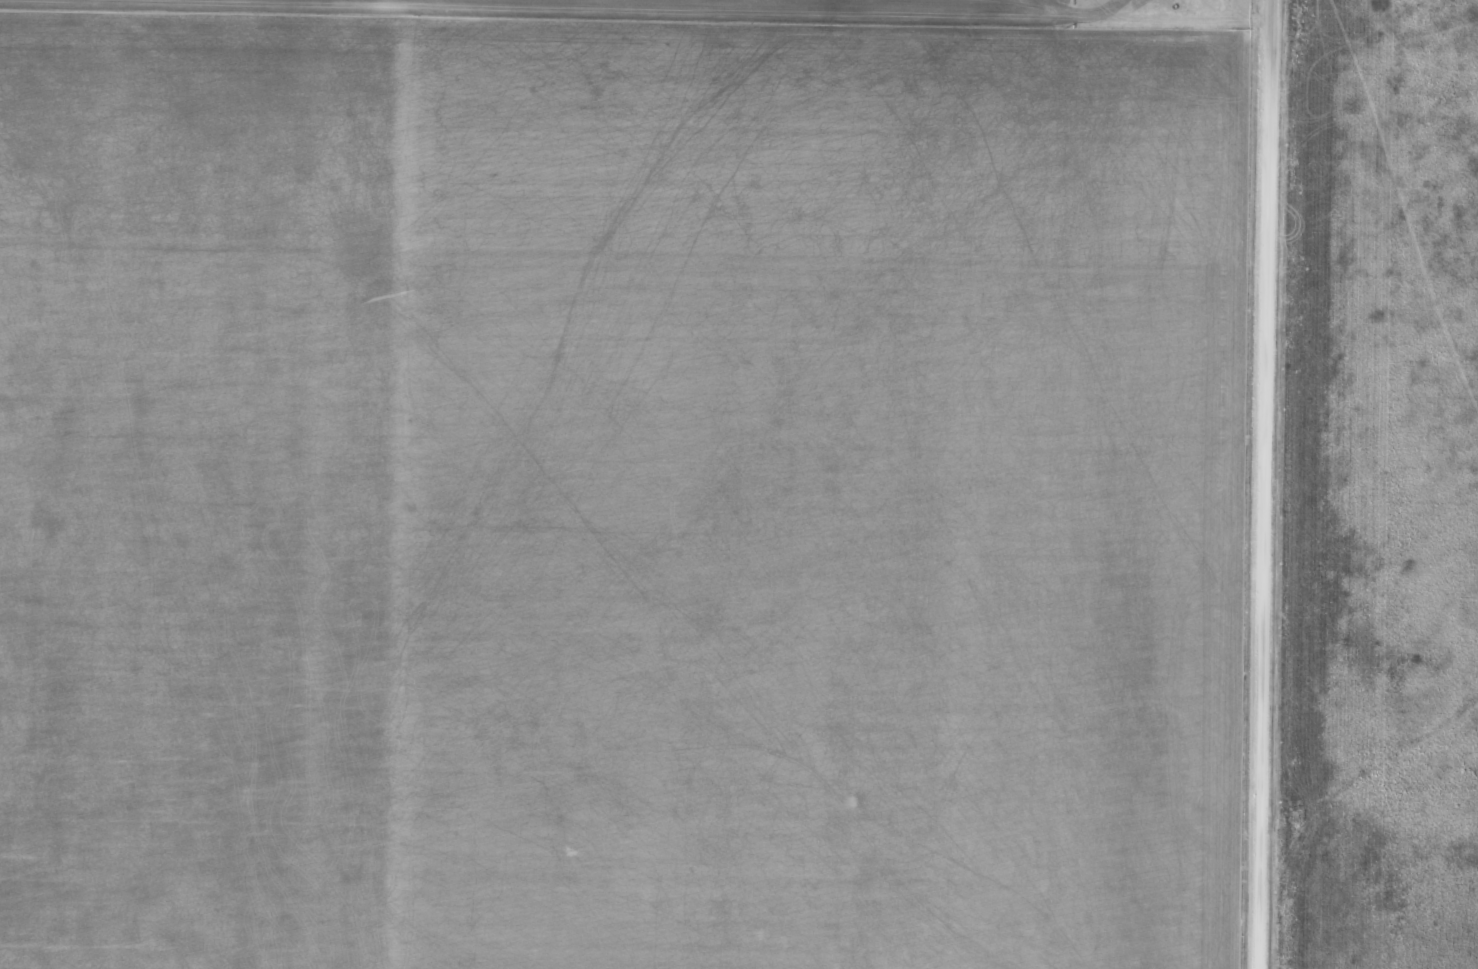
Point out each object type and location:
road: (1266, 484)

